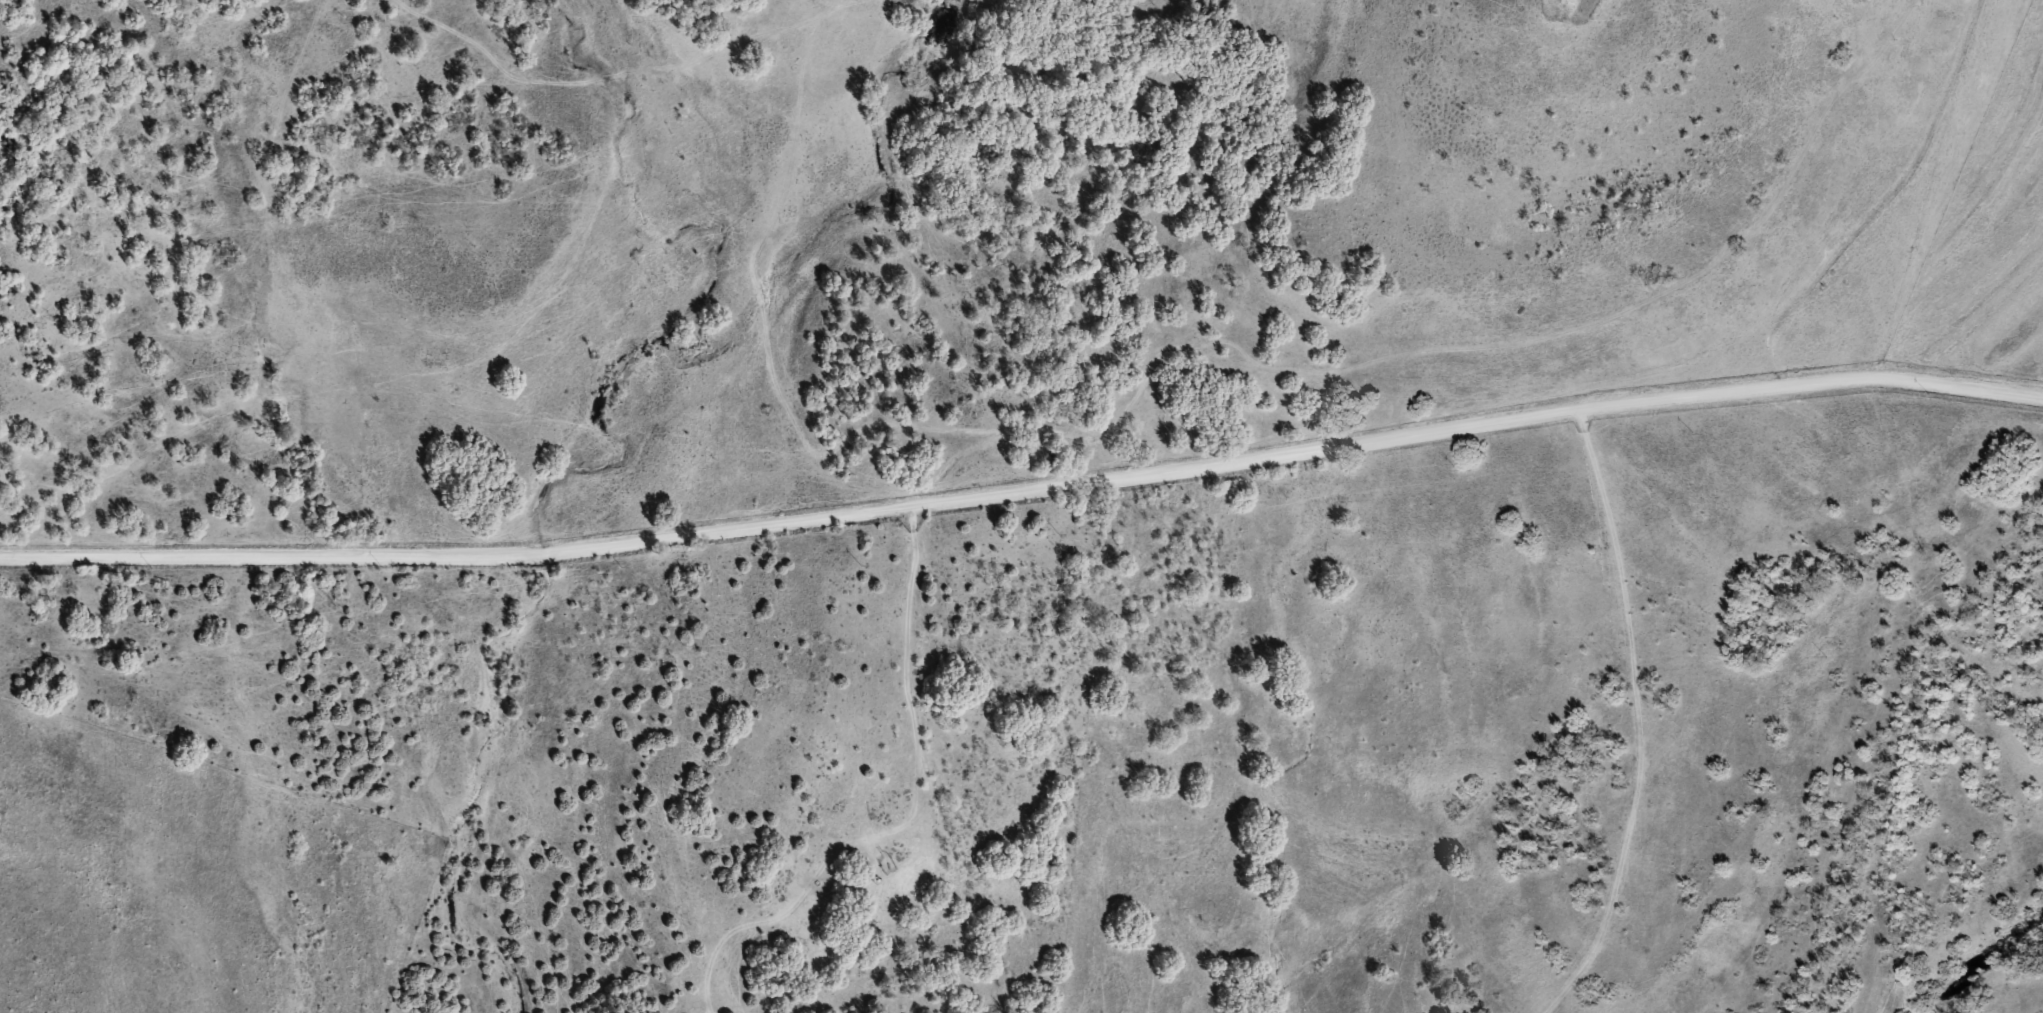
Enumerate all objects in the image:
road: (1023, 495)
building: (902, 886)

